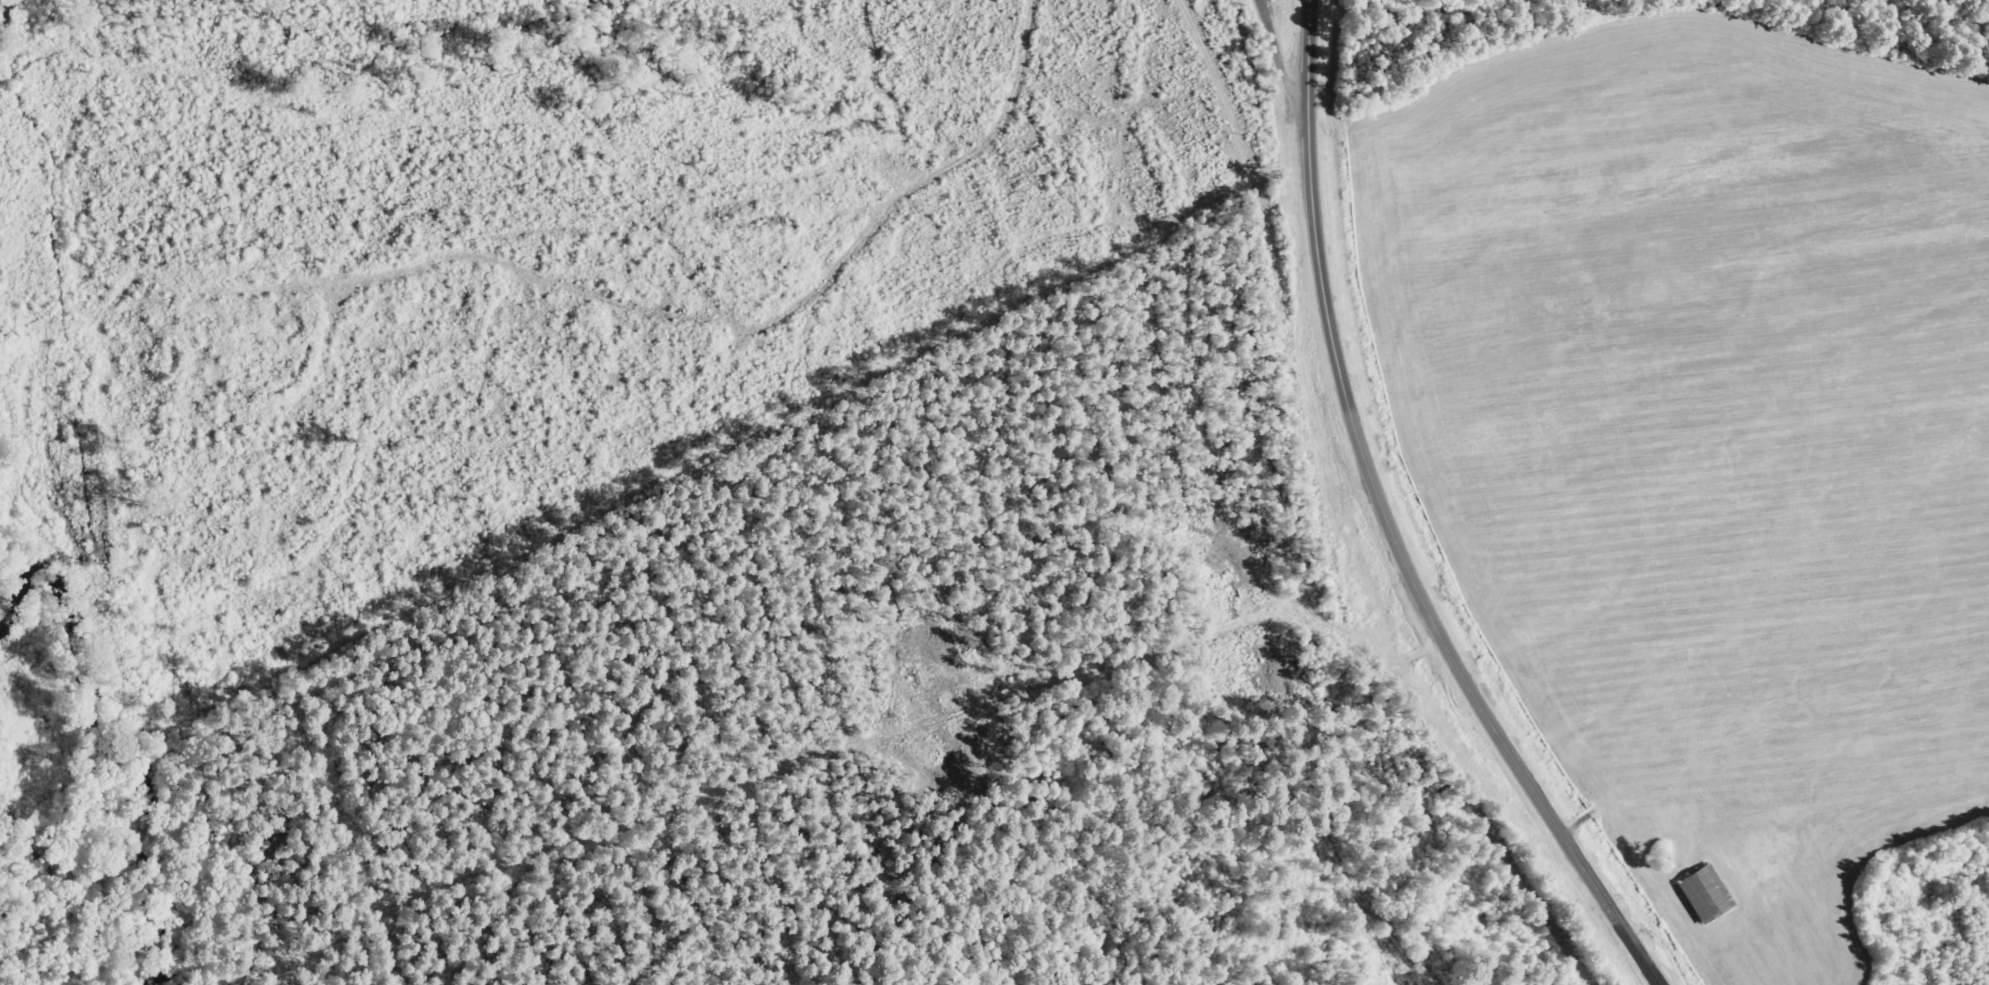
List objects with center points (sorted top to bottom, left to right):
road: (1259, 51)
road: (1388, 523)
building: (1707, 893)

